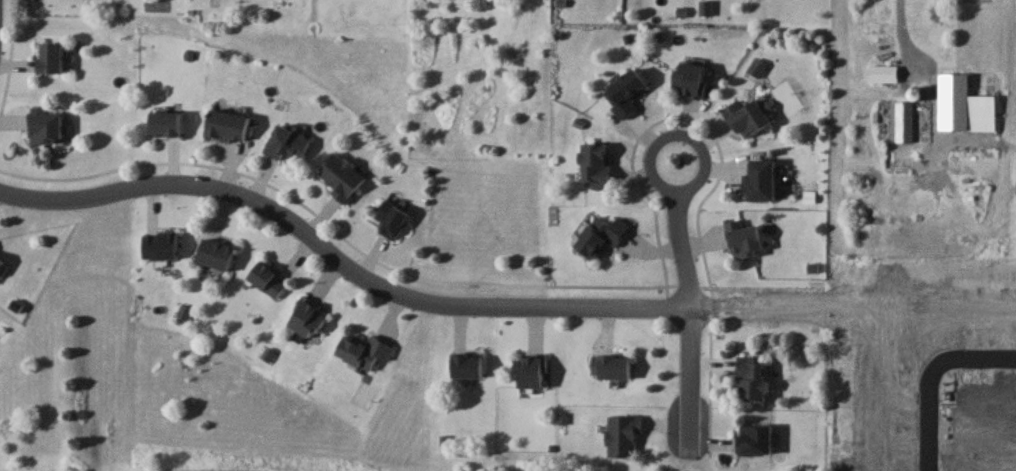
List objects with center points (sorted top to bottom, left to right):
road: (898, 25)
building: (50, 58)
building: (883, 73)
building: (689, 79)
building: (624, 93)
building: (964, 106)
building: (747, 119)
building: (905, 122)
building: (164, 124)
building: (227, 127)
building: (45, 129)
building: (288, 147)
building: (596, 165)
building: (341, 177)
building: (760, 182)
building: (390, 220)
building: (601, 236)
building: (744, 240)
building: (215, 255)
building: (1, 264)
building: (268, 281)
road: (391, 289)
road: (689, 306)
building: (183, 316)
building: (308, 320)
building: (364, 352)
building: (467, 366)
building: (611, 368)
building: (529, 373)
road: (928, 374)
building: (752, 380)
building: (623, 436)
building: (753, 439)

